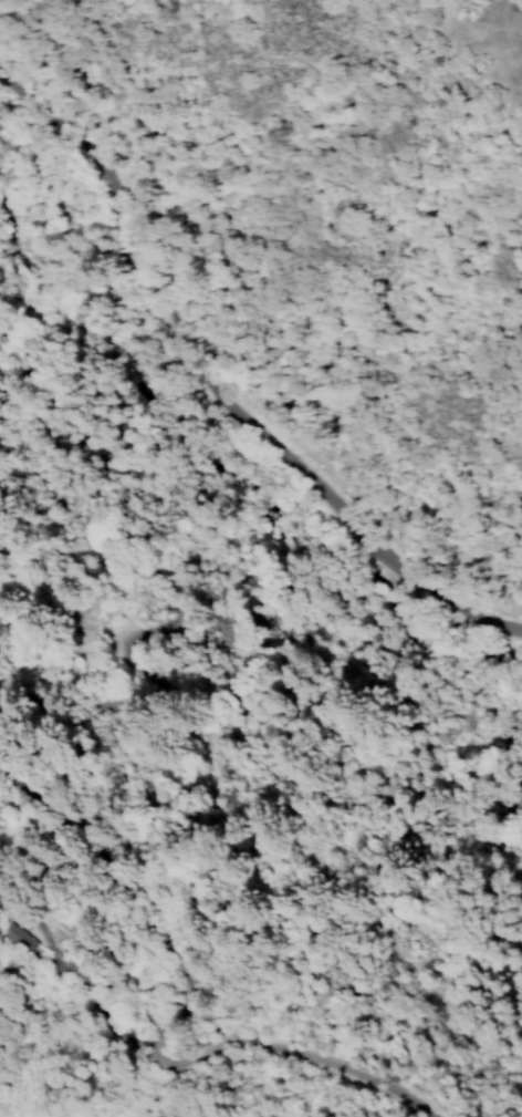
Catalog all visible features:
road: (330, 244)
road: (216, 399)
building: (17, 938)
road: (188, 1057)

